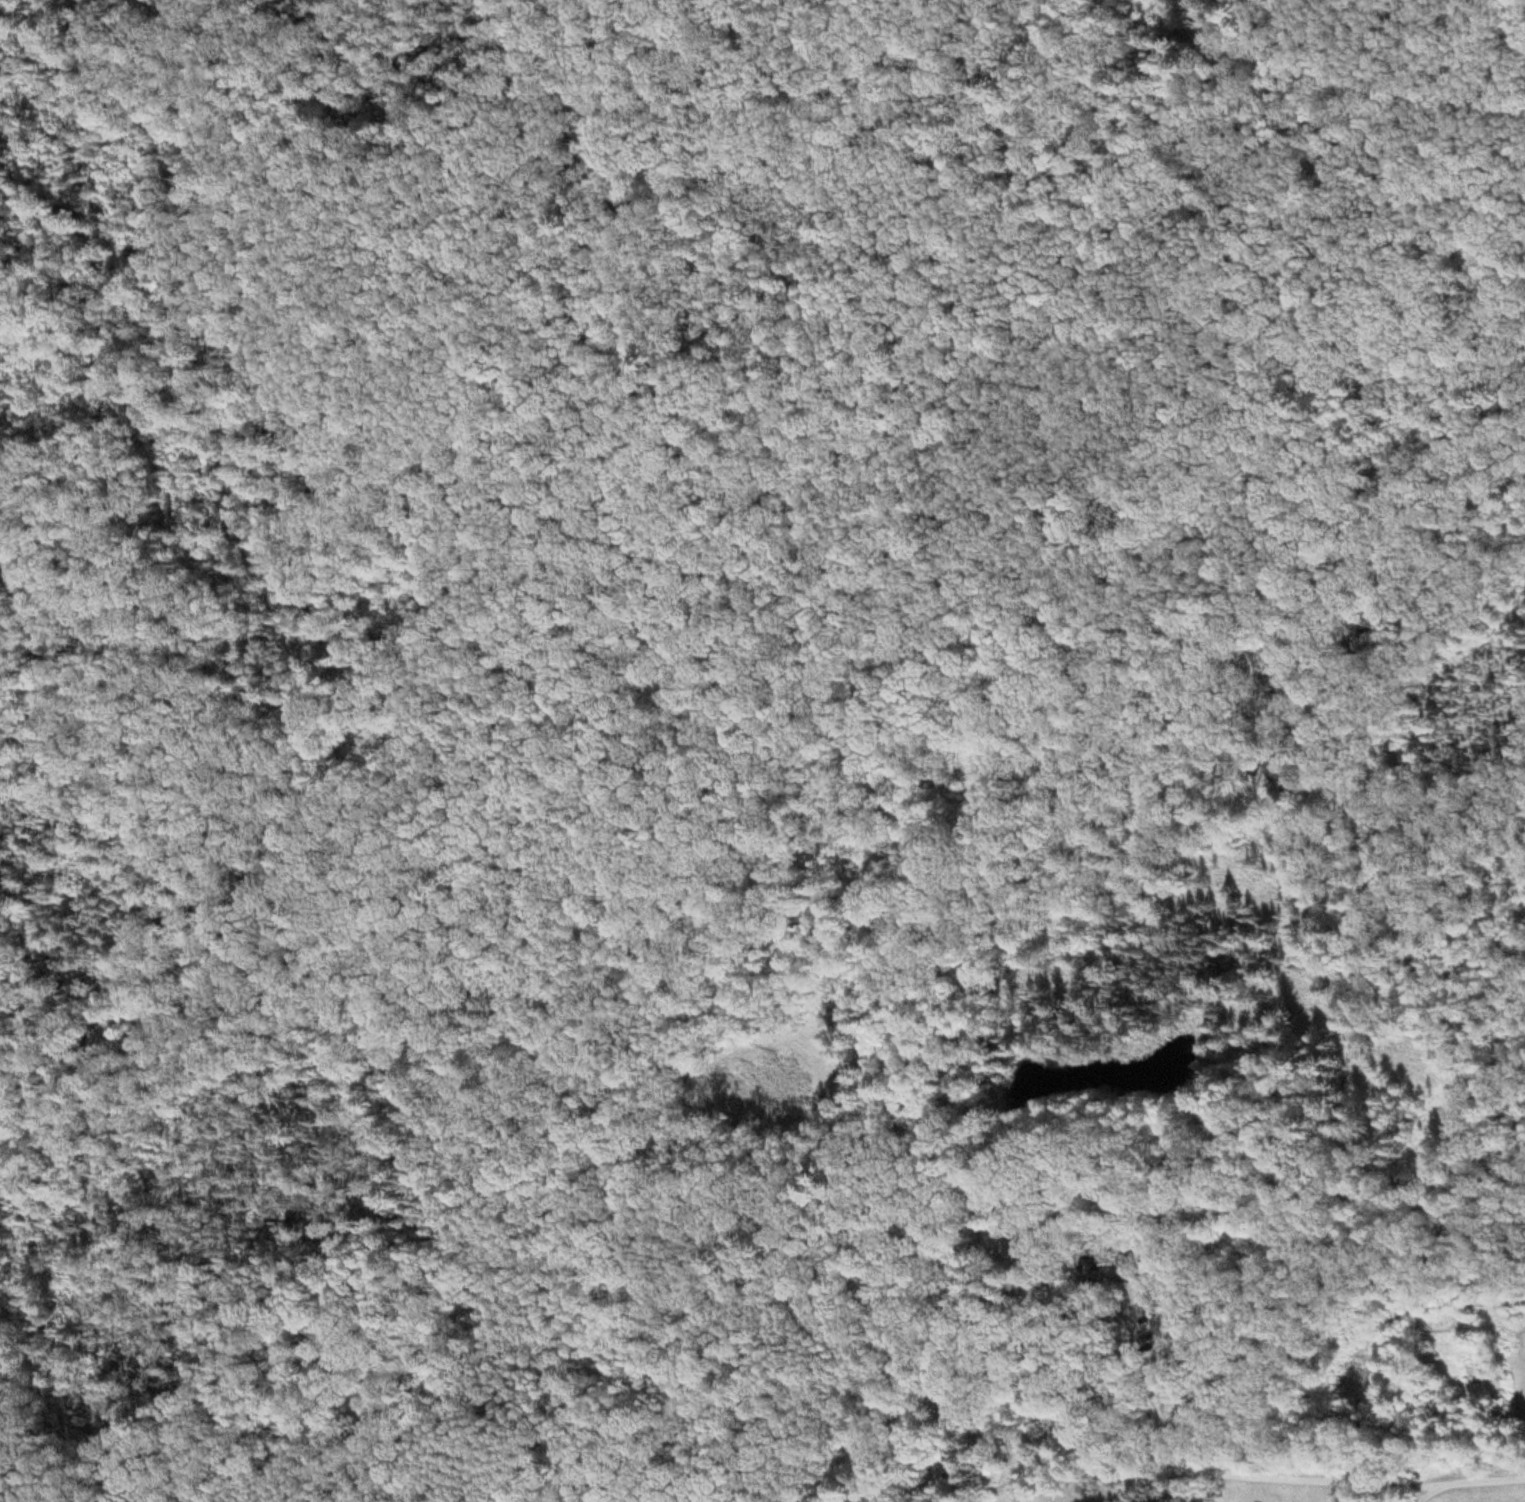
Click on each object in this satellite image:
road: (1274, 712)
road: (392, 1065)
road: (813, 1207)
road: (921, 1468)
road: (1366, 1483)

